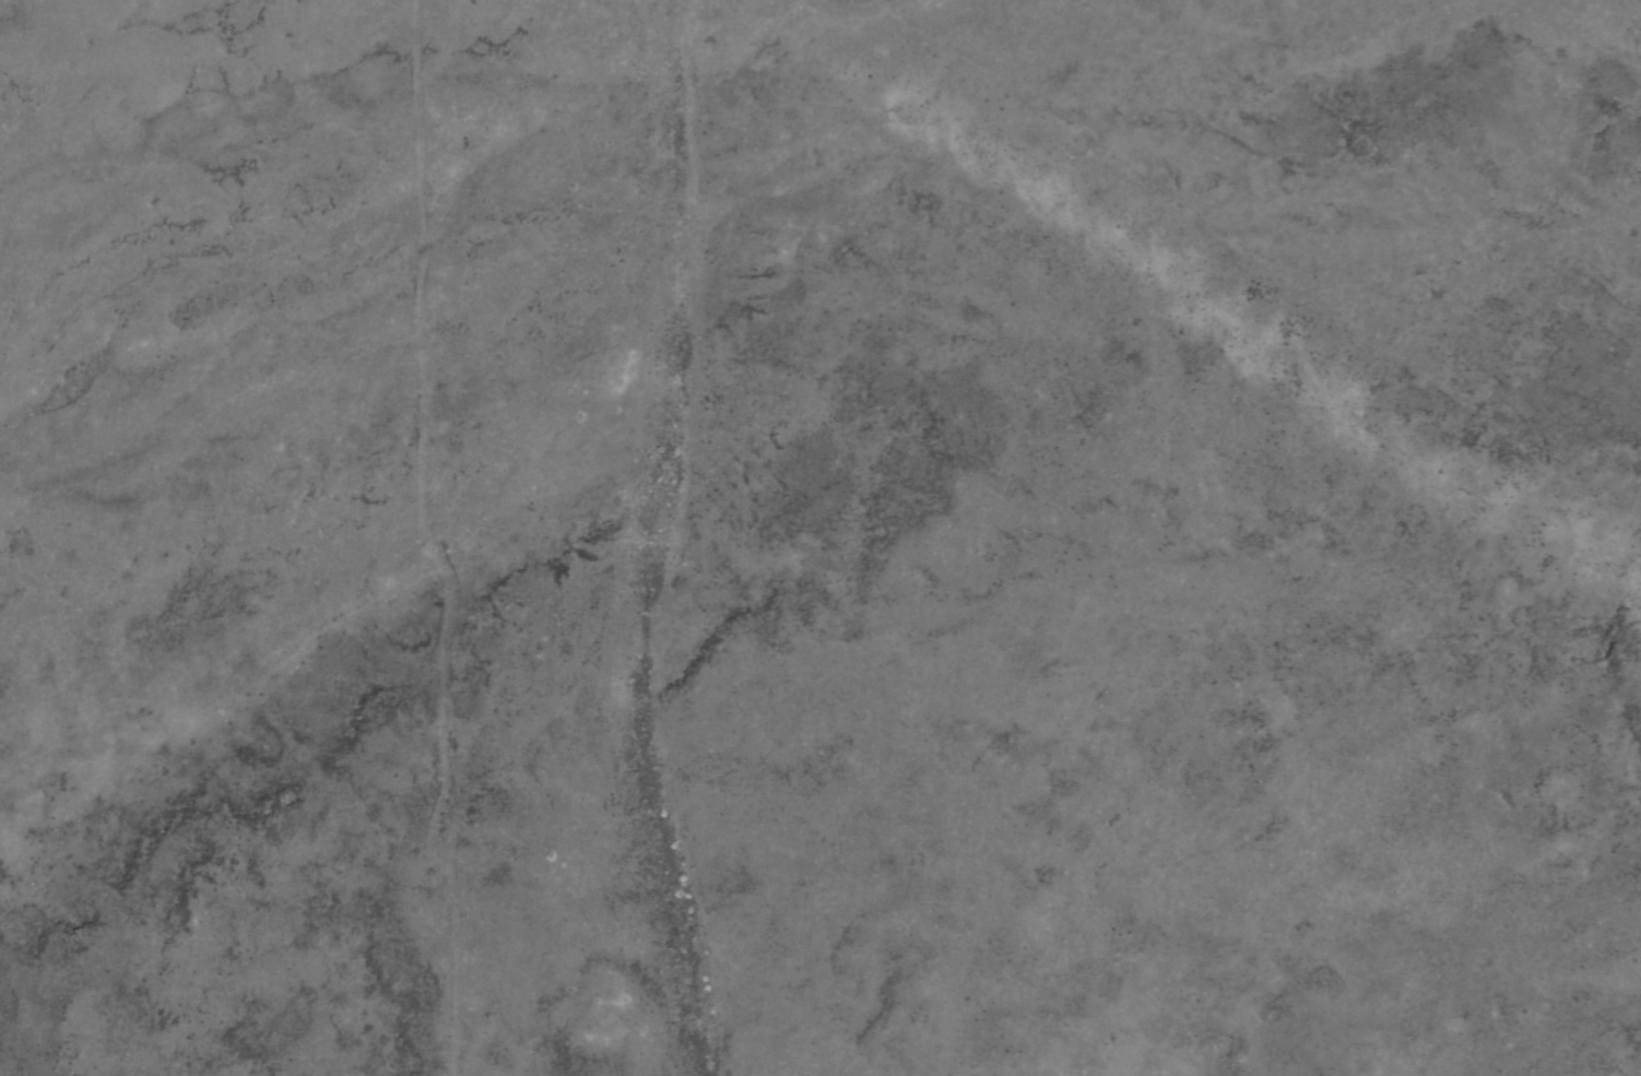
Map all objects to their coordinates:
road: (1396, 153)
road: (2, 1073)

